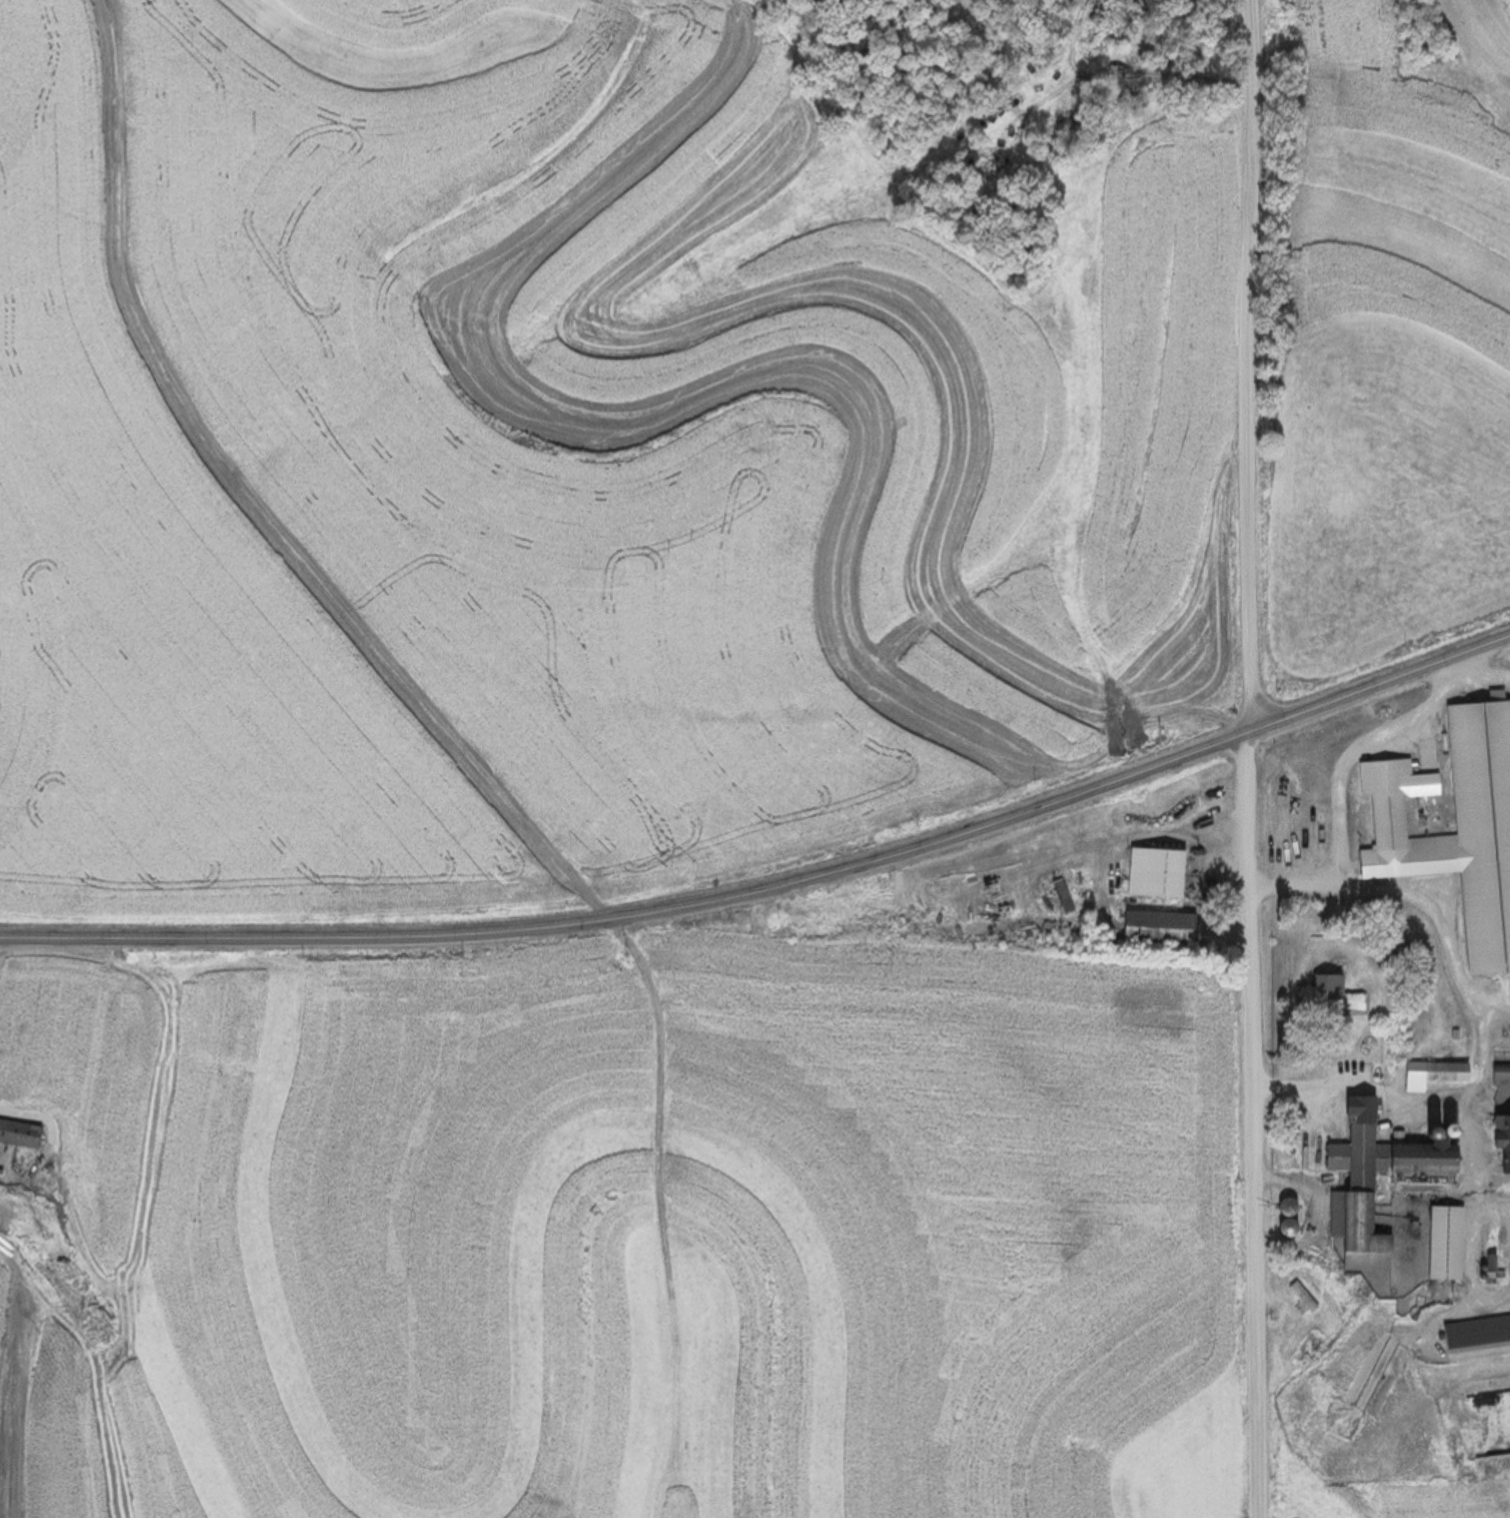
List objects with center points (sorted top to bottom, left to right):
road: (1479, 676)
road: (1248, 758)
building: (1460, 823)
building: (1152, 872)
road: (1290, 879)
road: (774, 889)
road: (1409, 895)
building: (1323, 991)
road: (1492, 1007)
building: (1441, 1071)
building: (1498, 1072)
road: (1358, 1084)
building: (23, 1134)
building: (1498, 1140)
building: (1299, 1158)
building: (1353, 1180)
building: (1281, 1206)
road: (1504, 1213)
building: (1283, 1227)
road: (1503, 1237)
building: (1449, 1243)
building: (1485, 1263)
building: (1300, 1296)
building: (1473, 1331)

